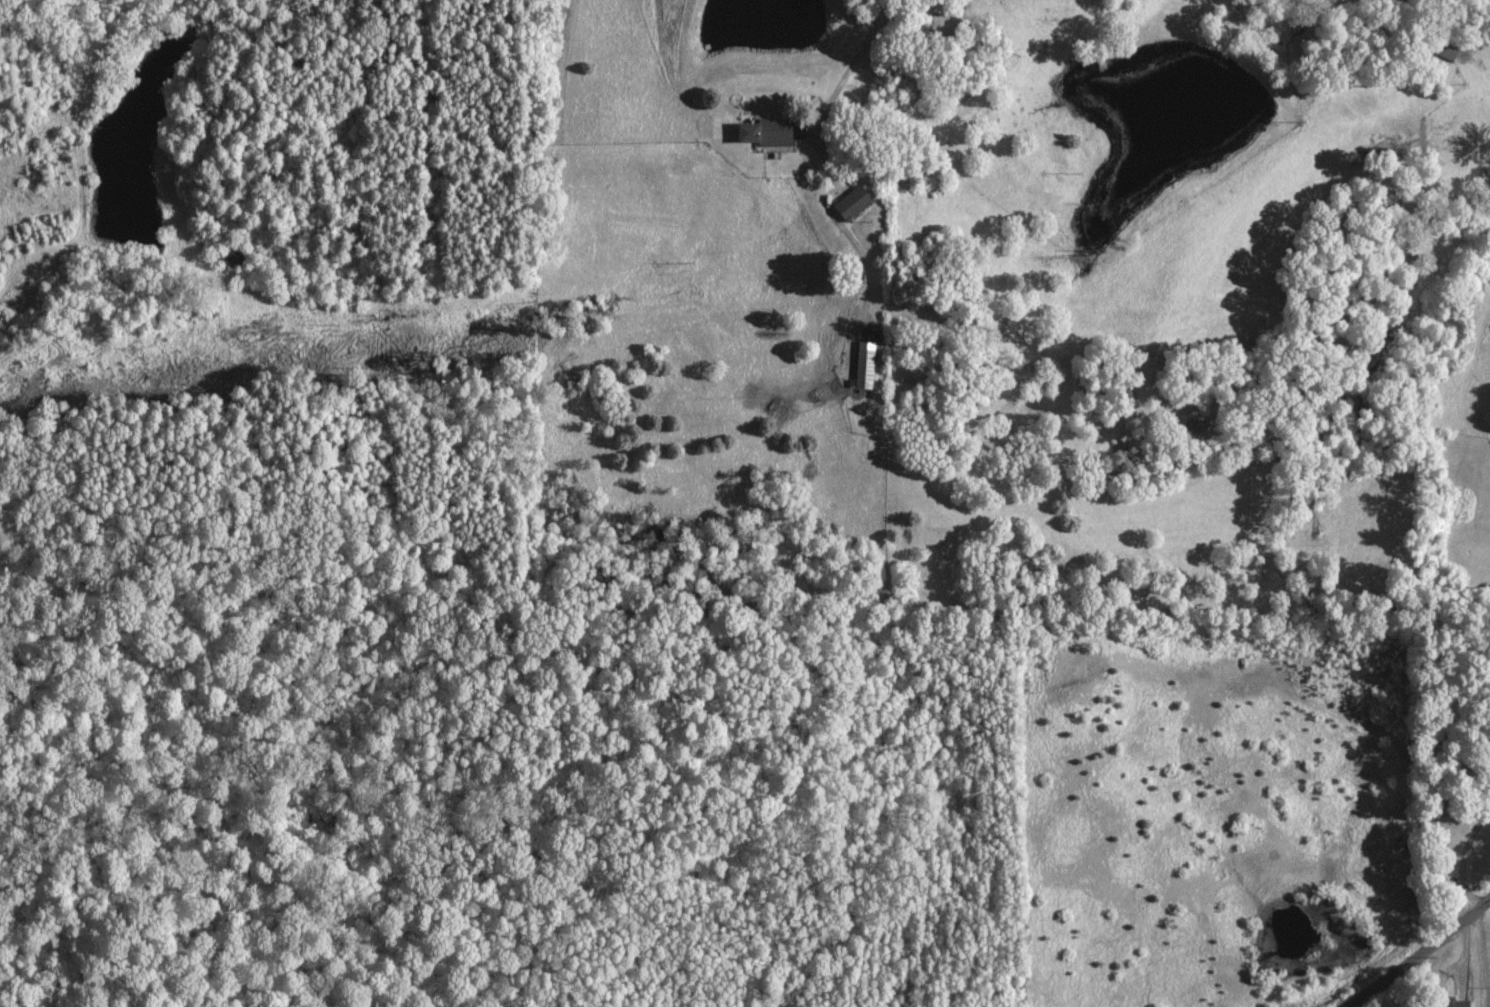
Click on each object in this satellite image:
road: (850, 67)
building: (761, 133)
building: (849, 203)
building: (861, 366)
road: (1419, 953)

